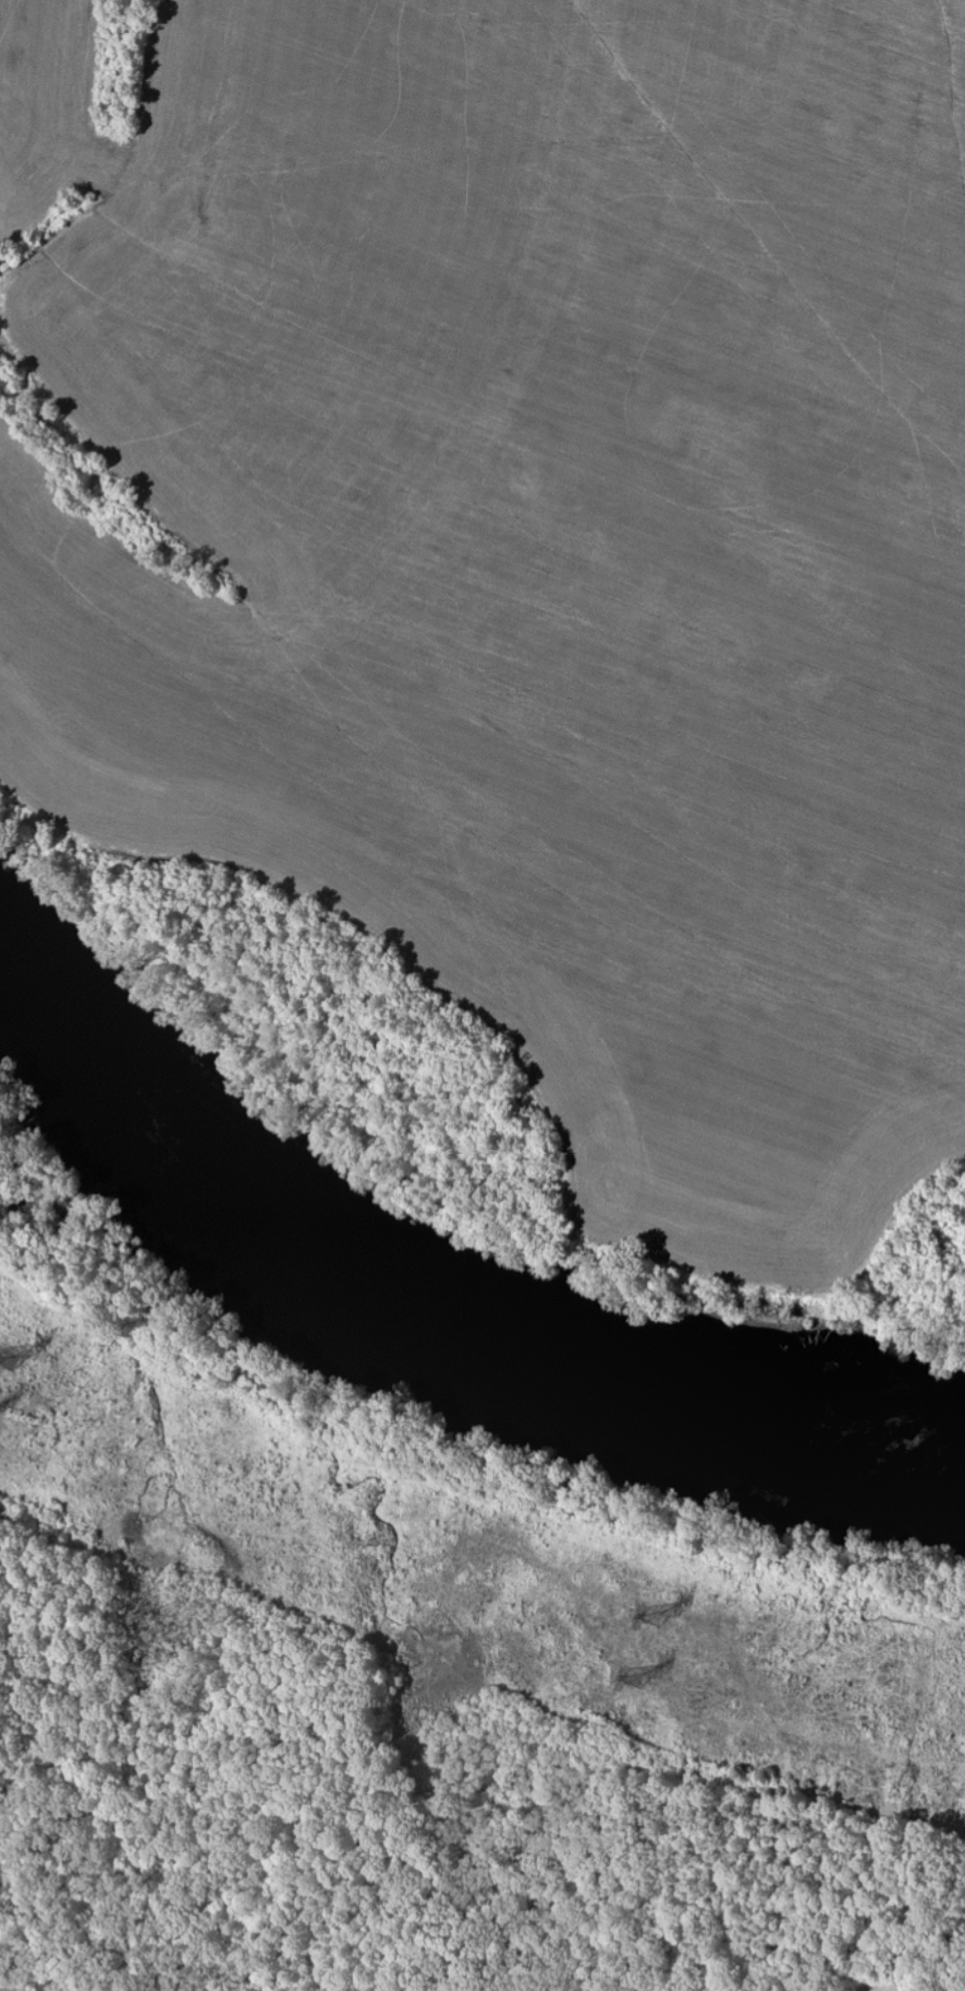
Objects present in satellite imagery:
river: (432, 1318)
power tower: (4, 1358)
power tower: (654, 1614)
power tower: (634, 1679)

